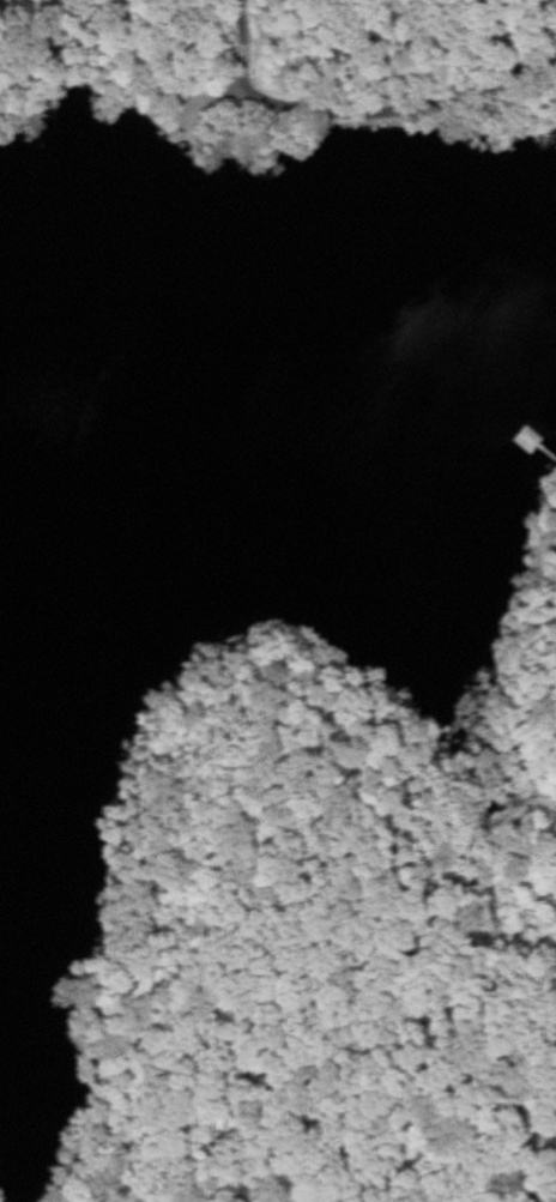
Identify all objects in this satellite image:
road: (347, 126)

